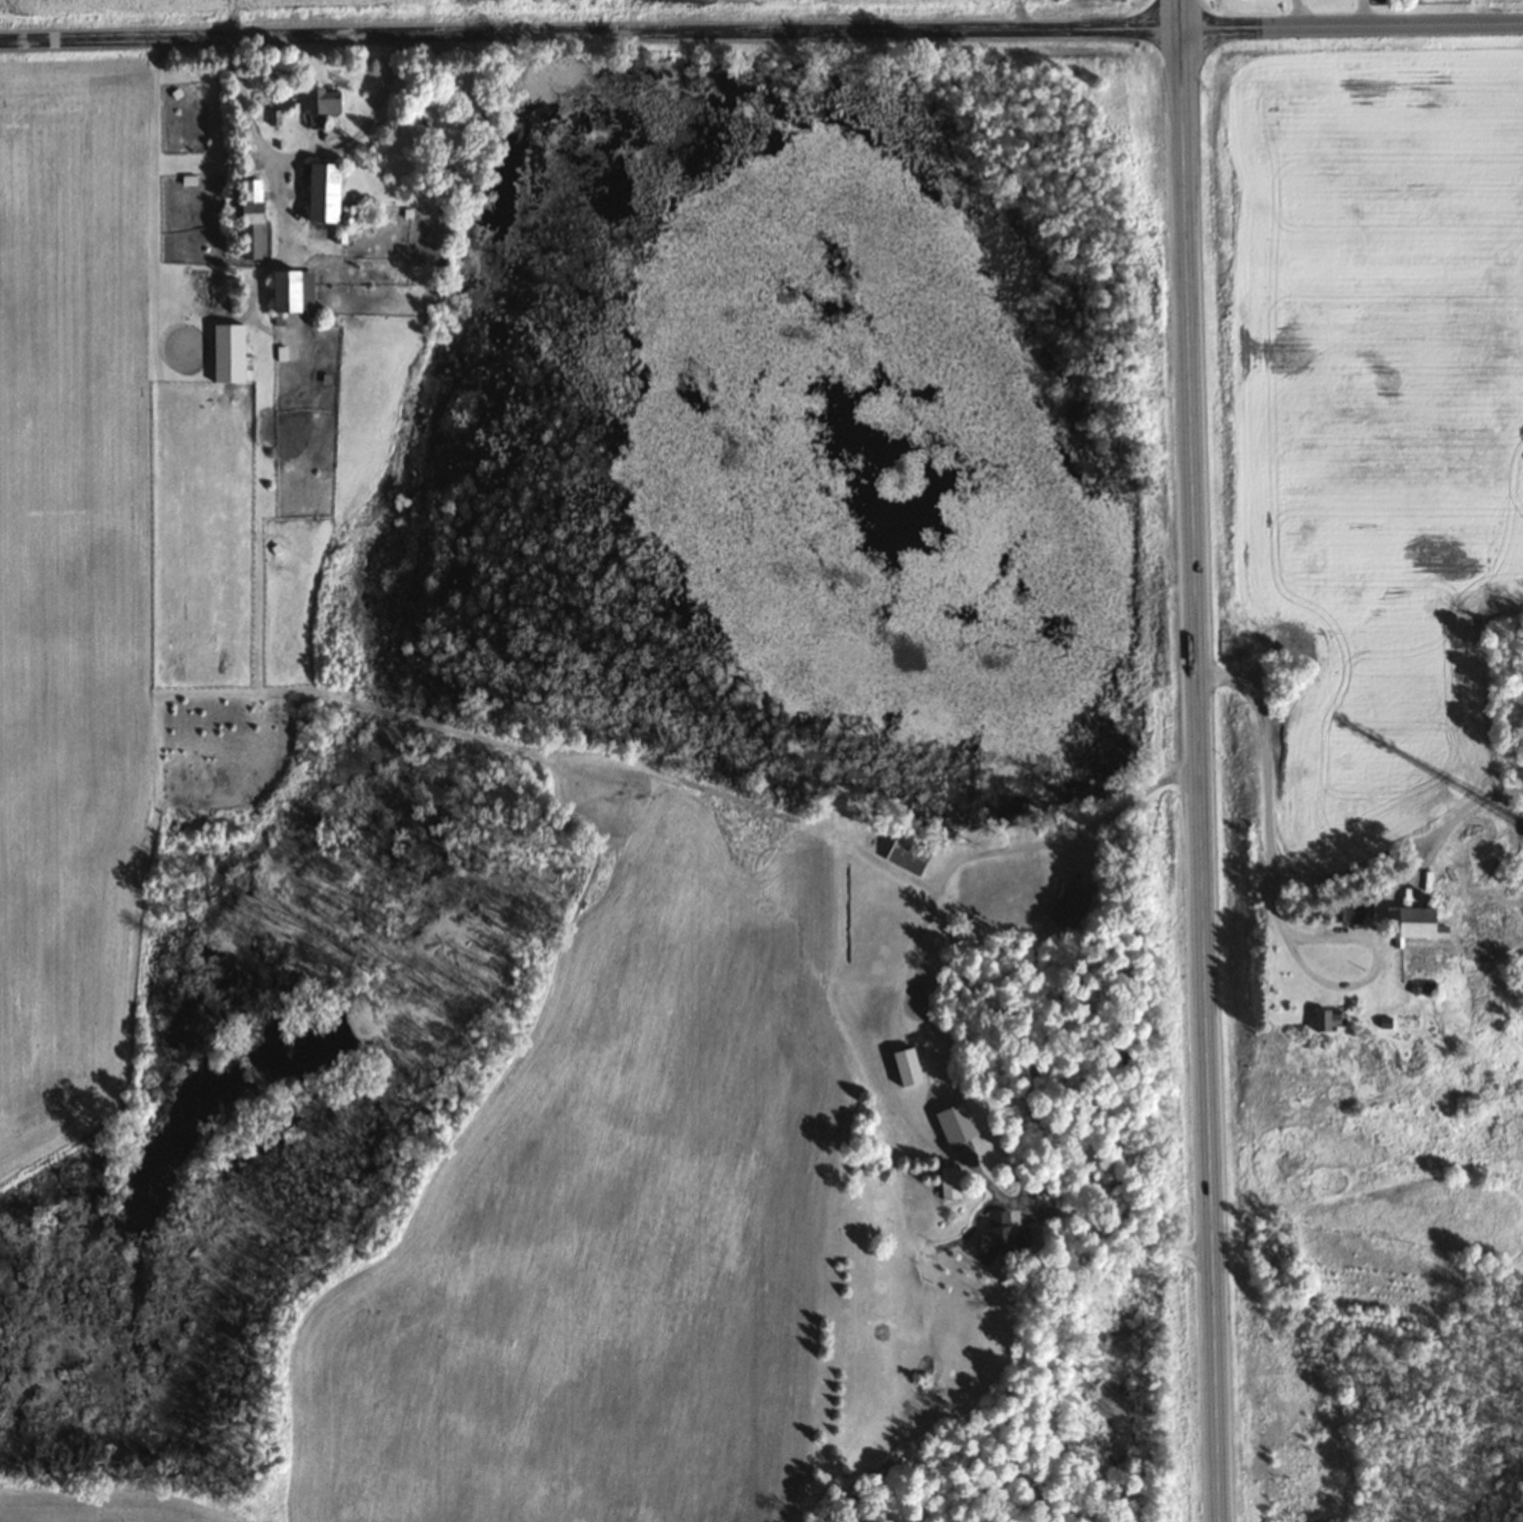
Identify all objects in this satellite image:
road: (761, 31)
building: (262, 99)
building: (320, 102)
building: (320, 194)
building: (248, 220)
building: (282, 293)
road: (1200, 760)
building: (1521, 828)
building: (906, 853)
building: (1067, 909)
building: (1410, 923)
building: (962, 937)
building: (1420, 986)
building: (1324, 1020)
building: (954, 1123)
building: (948, 1182)
building: (999, 1235)

